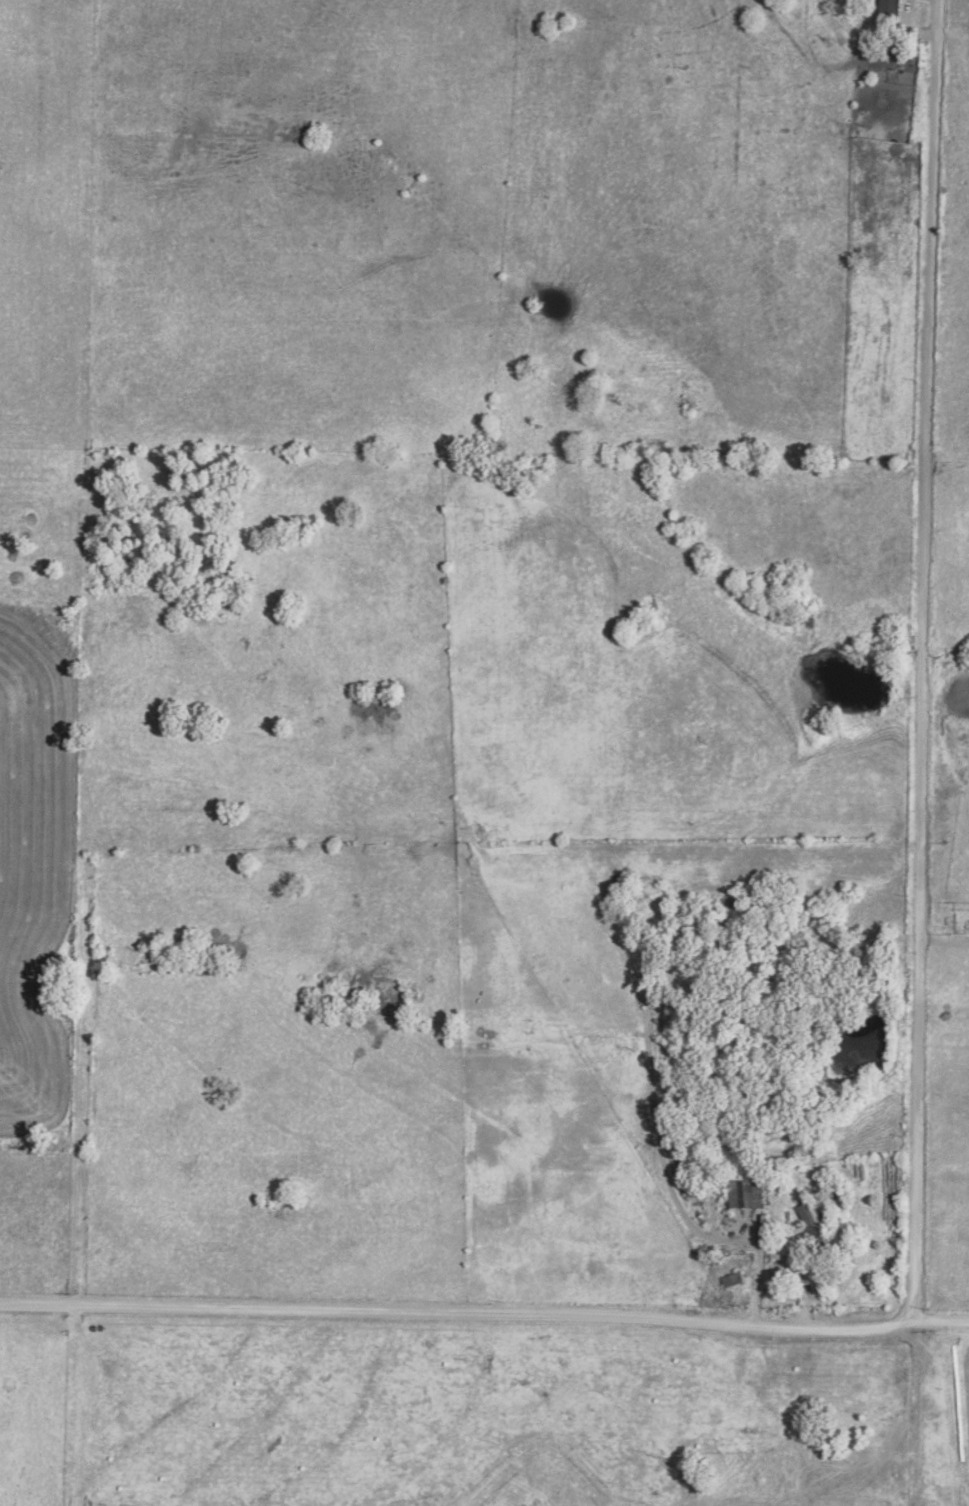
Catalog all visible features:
building: (895, 9)
road: (922, 664)
building: (816, 1226)
road: (797, 1274)
road: (484, 1315)

